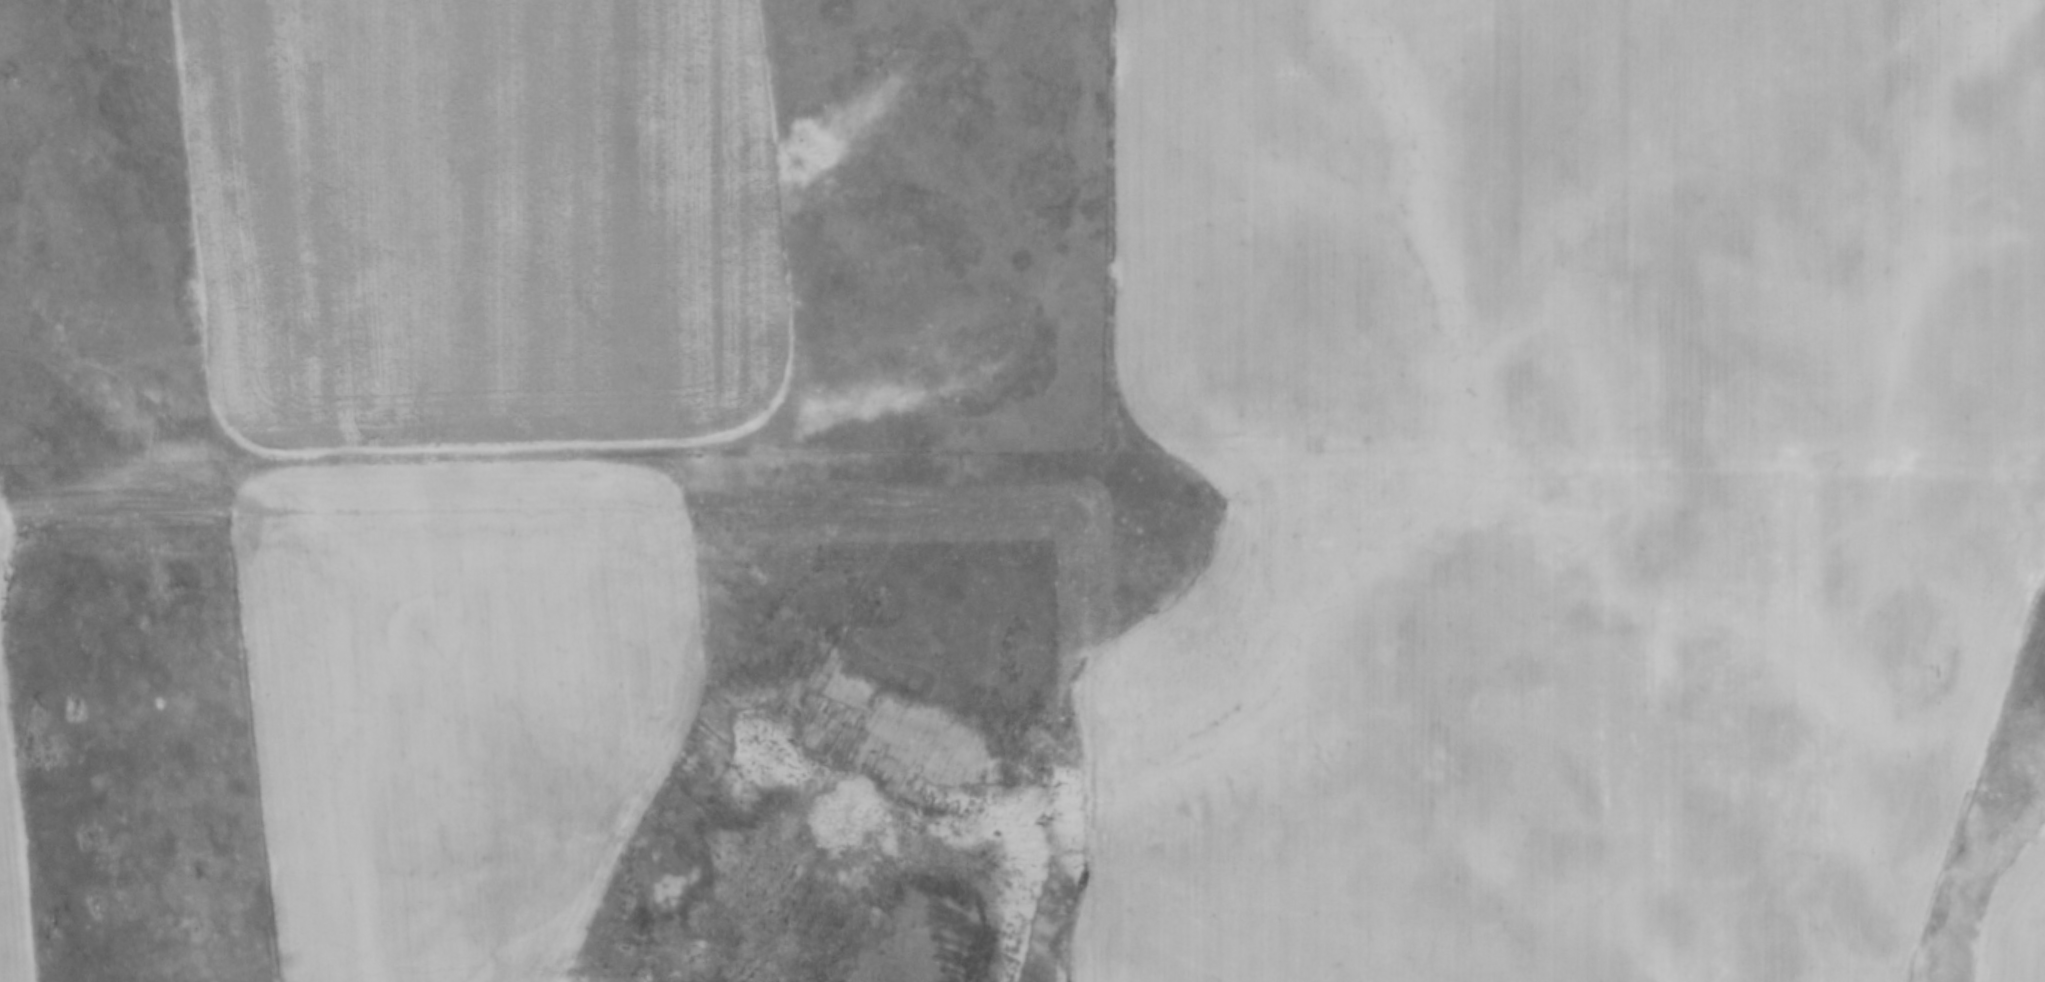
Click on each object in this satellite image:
road: (1971, 781)

